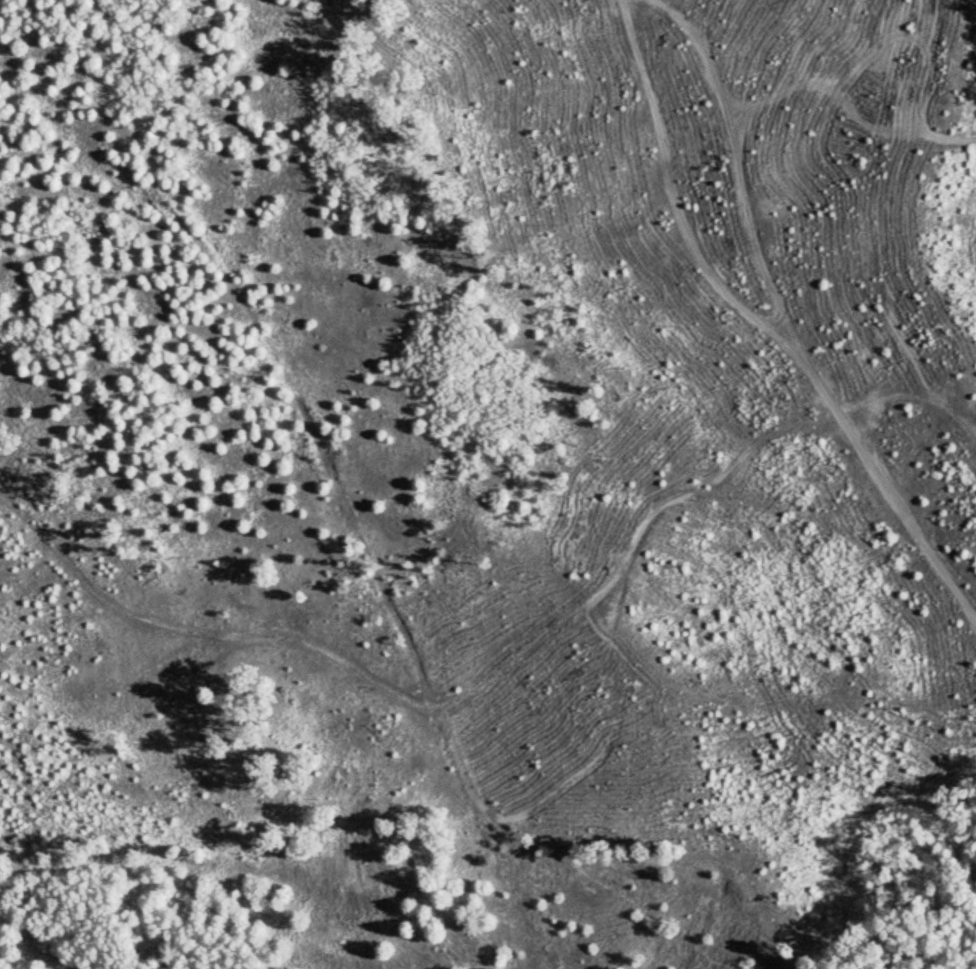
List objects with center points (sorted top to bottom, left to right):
road: (790, 82)
road: (782, 330)

